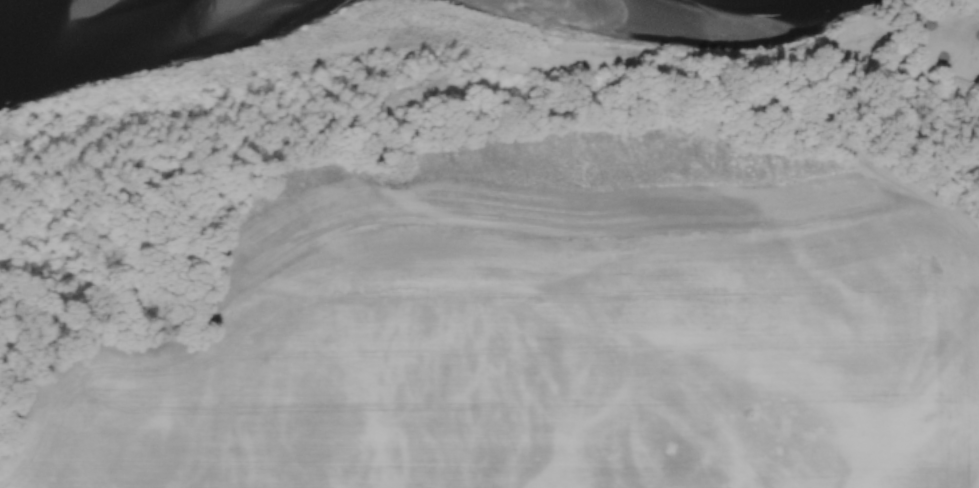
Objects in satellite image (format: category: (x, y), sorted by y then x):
river: (2, 1)
building: (970, 54)

